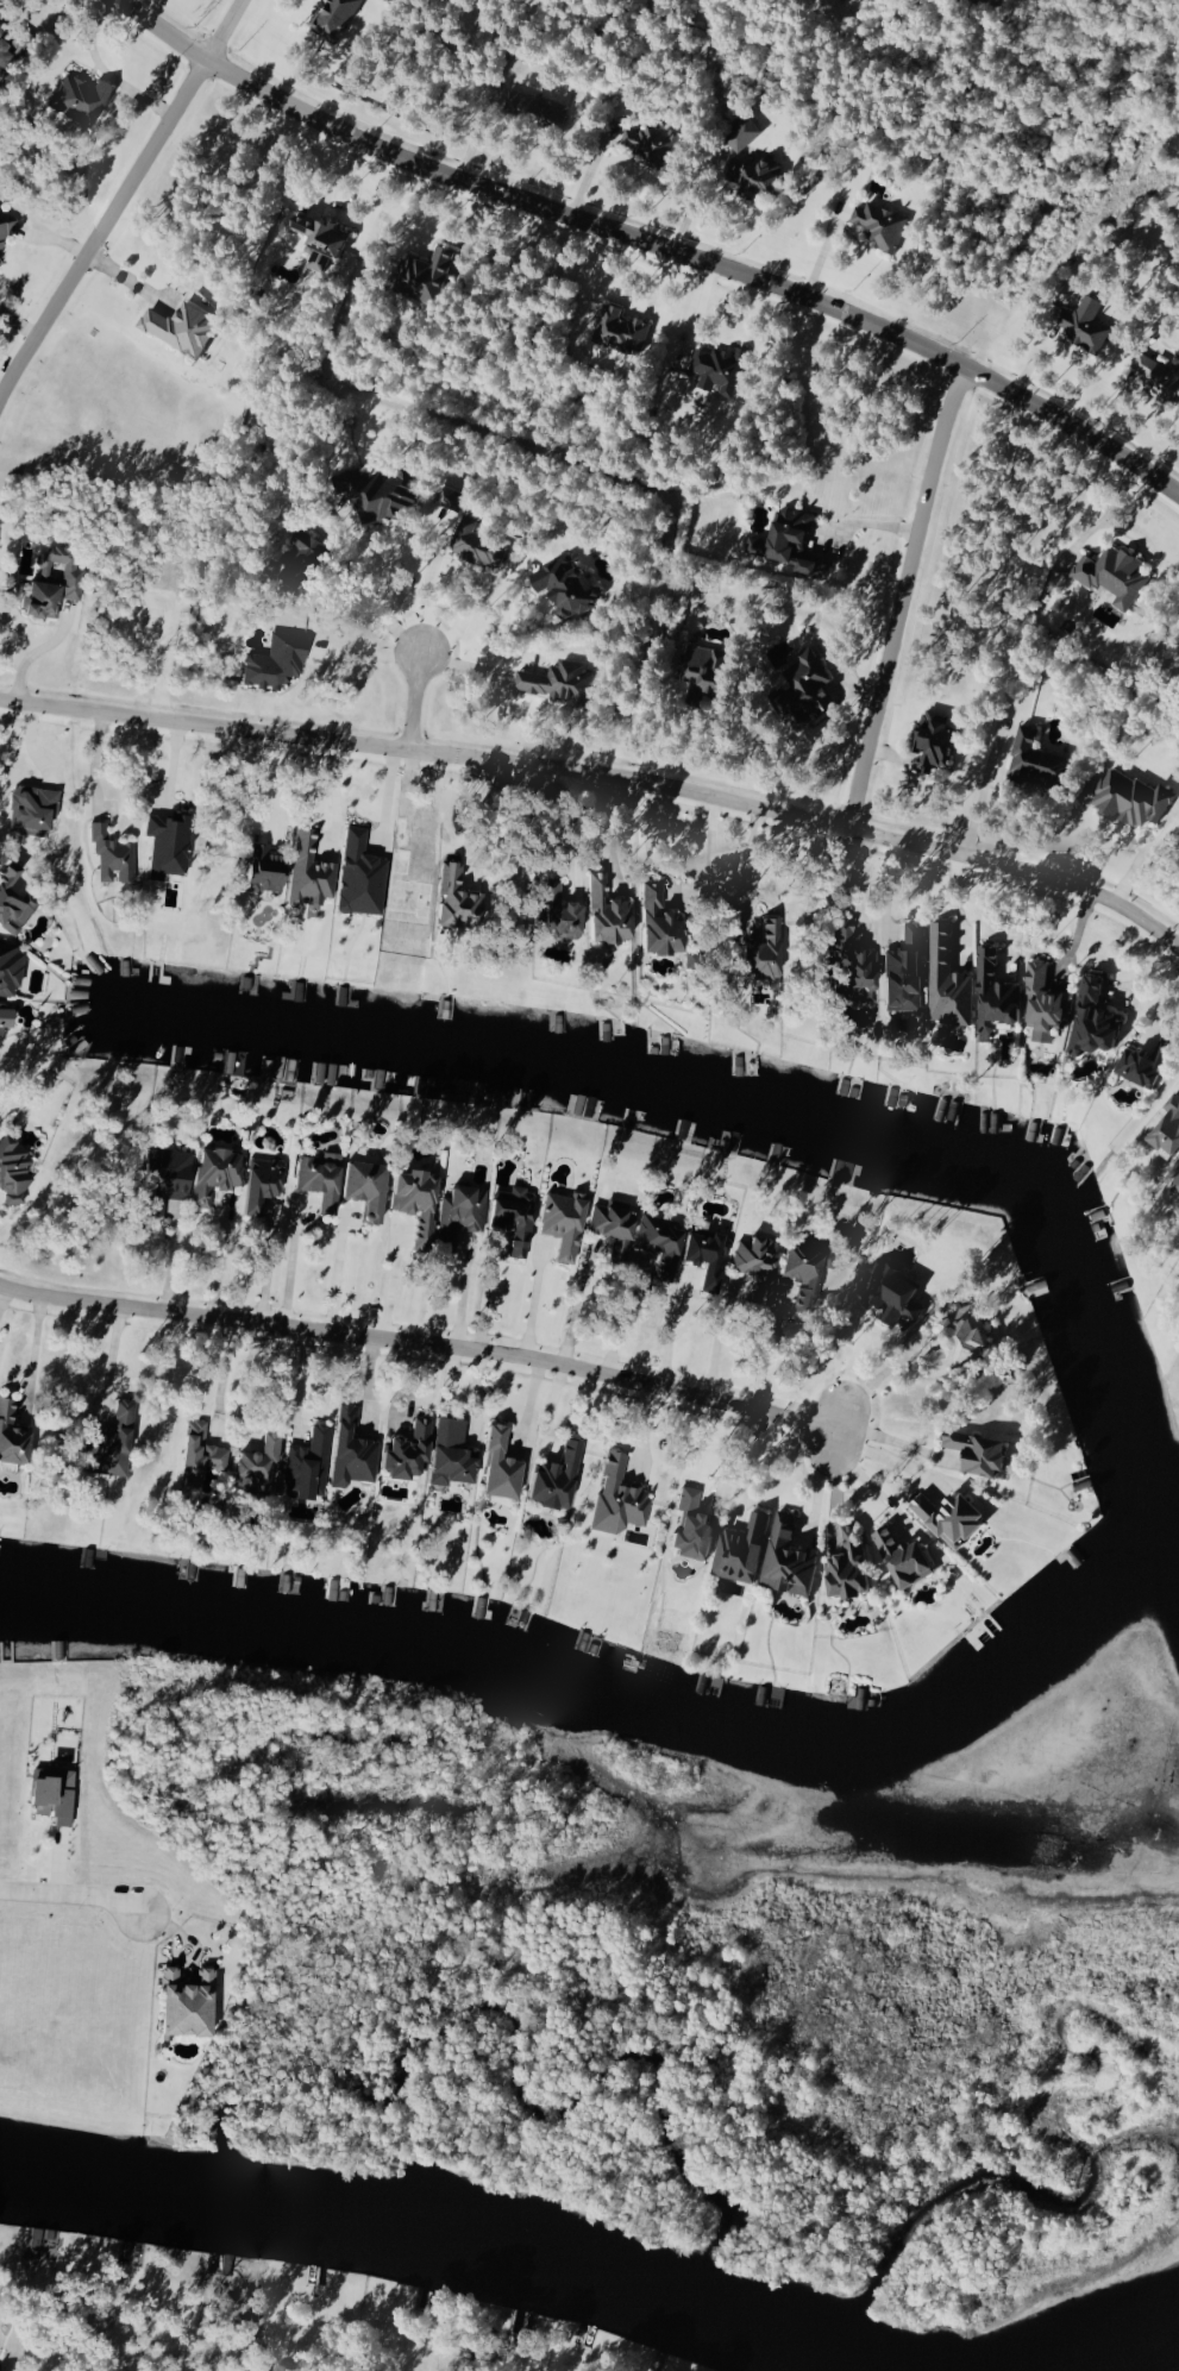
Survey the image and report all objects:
building: (332, 18)
road: (221, 29)
building: (17, 38)
building: (2, 50)
road: (104, 69)
building: (79, 98)
building: (521, 102)
building: (740, 133)
building: (648, 143)
building: (752, 174)
road: (100, 222)
building: (5, 224)
building: (878, 225)
building: (318, 239)
road: (648, 244)
building: (422, 274)
building: (177, 326)
building: (1078, 327)
building: (619, 328)
building: (717, 369)
building: (1155, 375)
building: (374, 490)
building: (449, 497)
building: (786, 542)
building: (475, 544)
building: (299, 559)
building: (1110, 573)
building: (48, 582)
building: (563, 585)
road: (390, 587)
road: (425, 594)
road: (890, 594)
road: (364, 606)
road: (469, 615)
road: (36, 651)
building: (272, 660)
building: (702, 669)
building: (557, 682)
building: (803, 686)
road: (413, 700)
road: (651, 725)
building: (930, 740)
building: (1033, 759)
road: (98, 761)
road: (602, 773)
road: (265, 784)
road: (334, 790)
road: (980, 790)
road: (388, 794)
building: (1128, 798)
building: (30, 809)
road: (482, 813)
road: (571, 828)
road: (609, 834)
building: (165, 842)
road: (1140, 852)
building: (109, 854)
road: (742, 865)
building: (261, 868)
building: (307, 871)
building: (358, 874)
road: (677, 887)
building: (451, 895)
building: (10, 898)
road: (958, 908)
building: (554, 911)
building: (604, 911)
building: (656, 921)
road: (1017, 922)
building: (759, 952)
building: (849, 964)
building: (8, 966)
building: (902, 970)
building: (945, 980)
building: (992, 995)
building: (1042, 1003)
building: (1, 1018)
building: (1091, 1018)
building: (1141, 1064)
building: (1166, 1128)
building: (12, 1167)
building: (211, 1171)
building: (316, 1177)
building: (162, 1178)
building: (257, 1181)
building: (1174, 1183)
building: (360, 1185)
building: (407, 1200)
building: (510, 1215)
building: (559, 1221)
building: (658, 1241)
building: (703, 1253)
road: (287, 1265)
road: (265, 1267)
road: (334, 1272)
building: (799, 1272)
road: (397, 1282)
road: (0, 1288)
building: (888, 1291)
road: (466, 1294)
road: (490, 1298)
road: (539, 1305)
road: (628, 1322)
road: (670, 1328)
building: (952, 1336)
road: (419, 1342)
road: (29, 1355)
road: (774, 1356)
road: (115, 1360)
road: (228, 1378)
road: (879, 1382)
road: (244, 1384)
road: (305, 1384)
building: (10, 1432)
building: (108, 1442)
road: (893, 1444)
building: (347, 1447)
building: (405, 1449)
building: (447, 1450)
building: (196, 1451)
building: (974, 1451)
road: (727, 1453)
building: (256, 1455)
road: (746, 1461)
road: (882, 1461)
building: (306, 1463)
building: (496, 1463)
building: (552, 1475)
road: (824, 1482)
road: (867, 1482)
building: (616, 1495)
building: (946, 1514)
building: (689, 1525)
building: (739, 1549)
building: (899, 1556)
building: (785, 1557)
building: (845, 1564)
building: (49, 1793)
road: (70, 1893)
building: (182, 2001)

